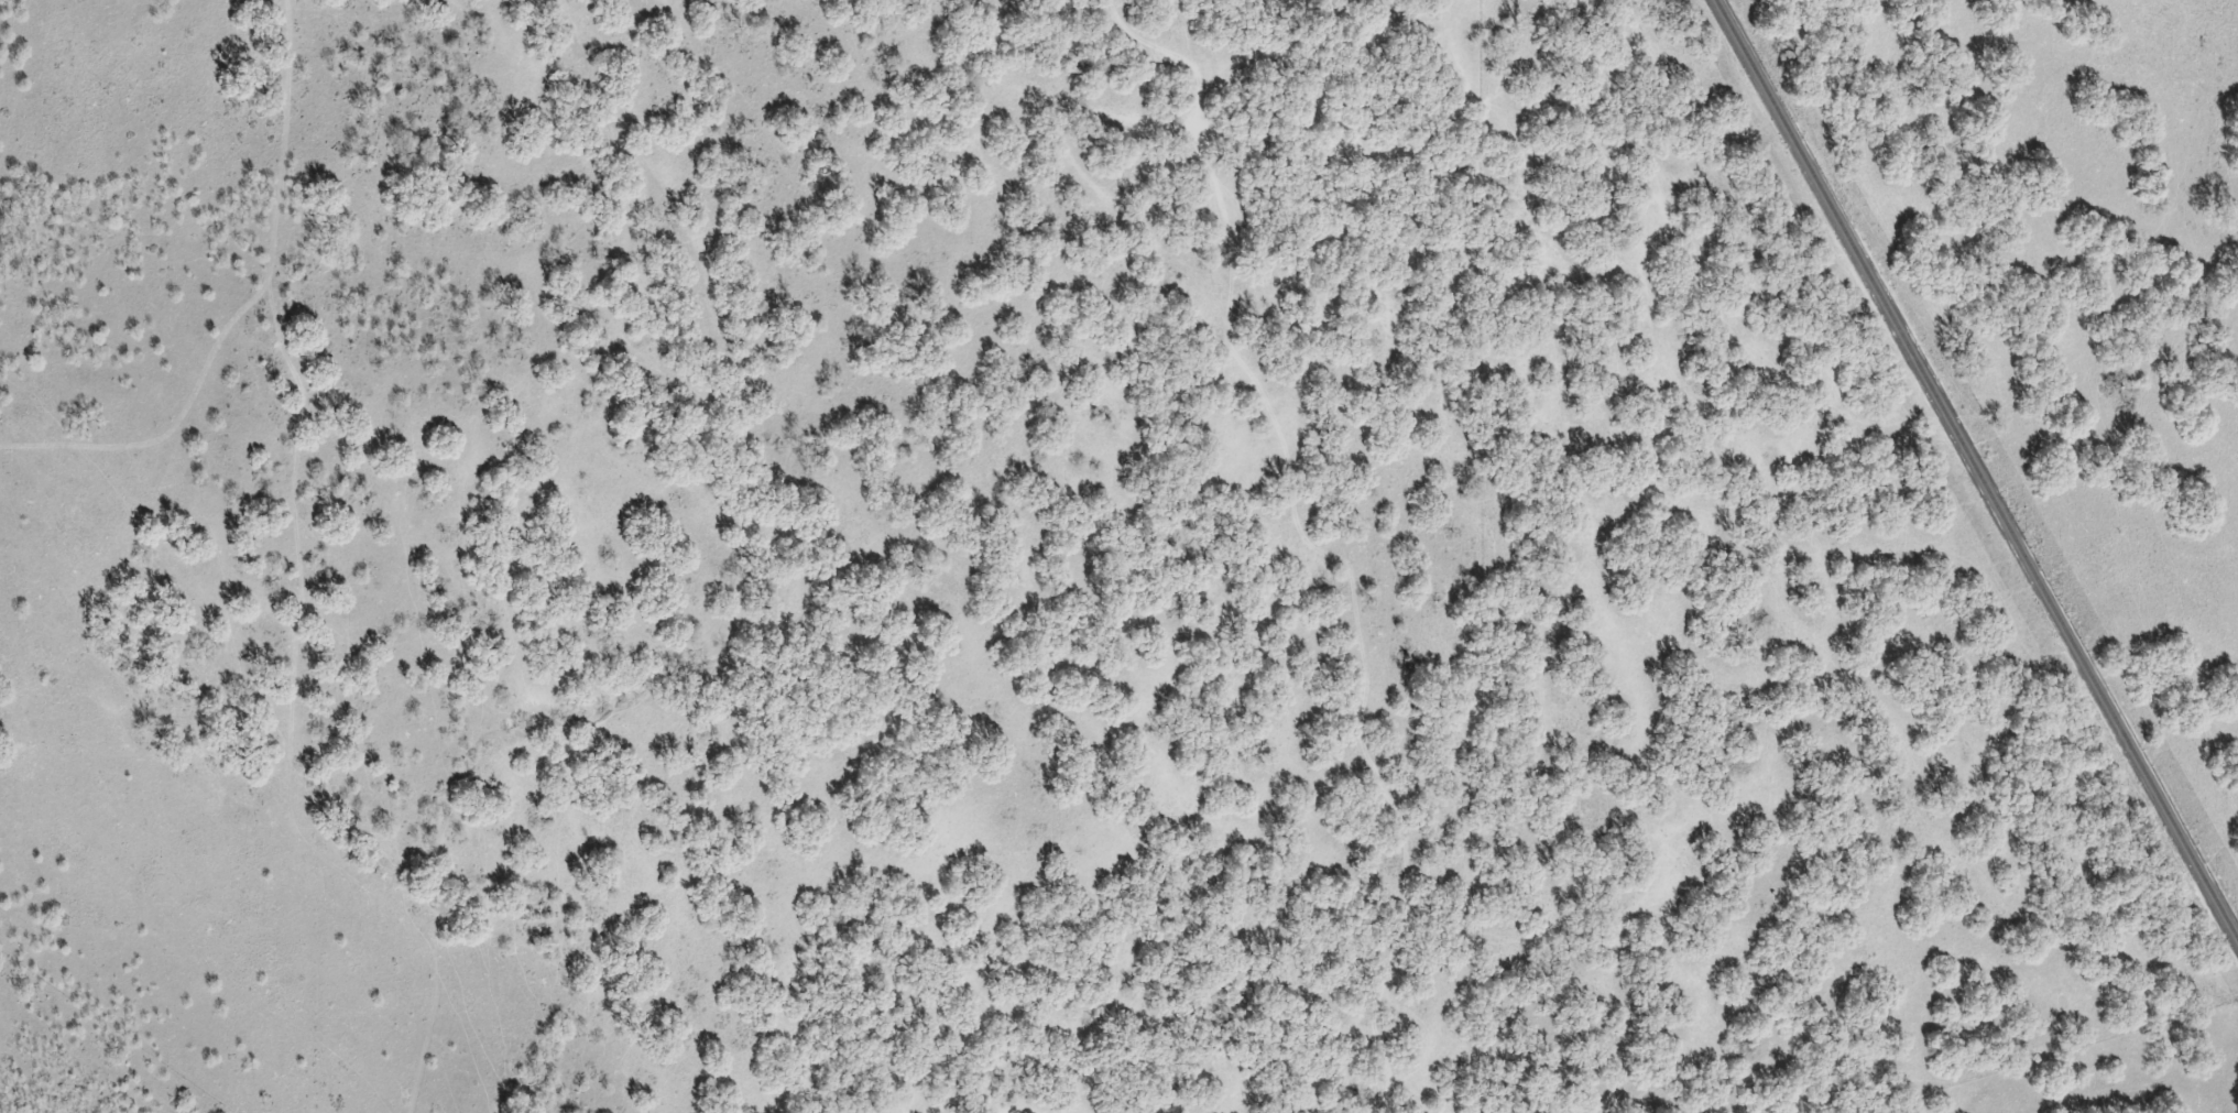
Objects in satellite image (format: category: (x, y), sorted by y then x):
railway: (1975, 473)

